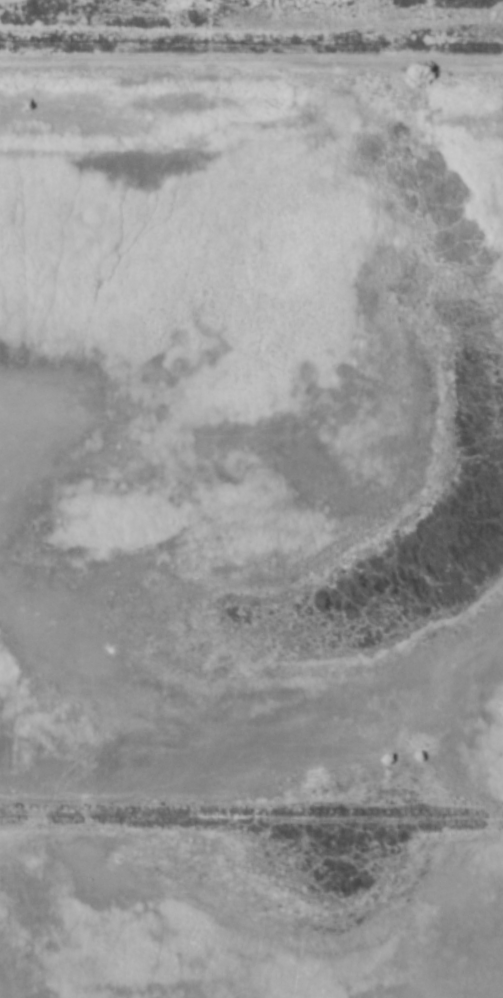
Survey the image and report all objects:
road: (251, 42)

